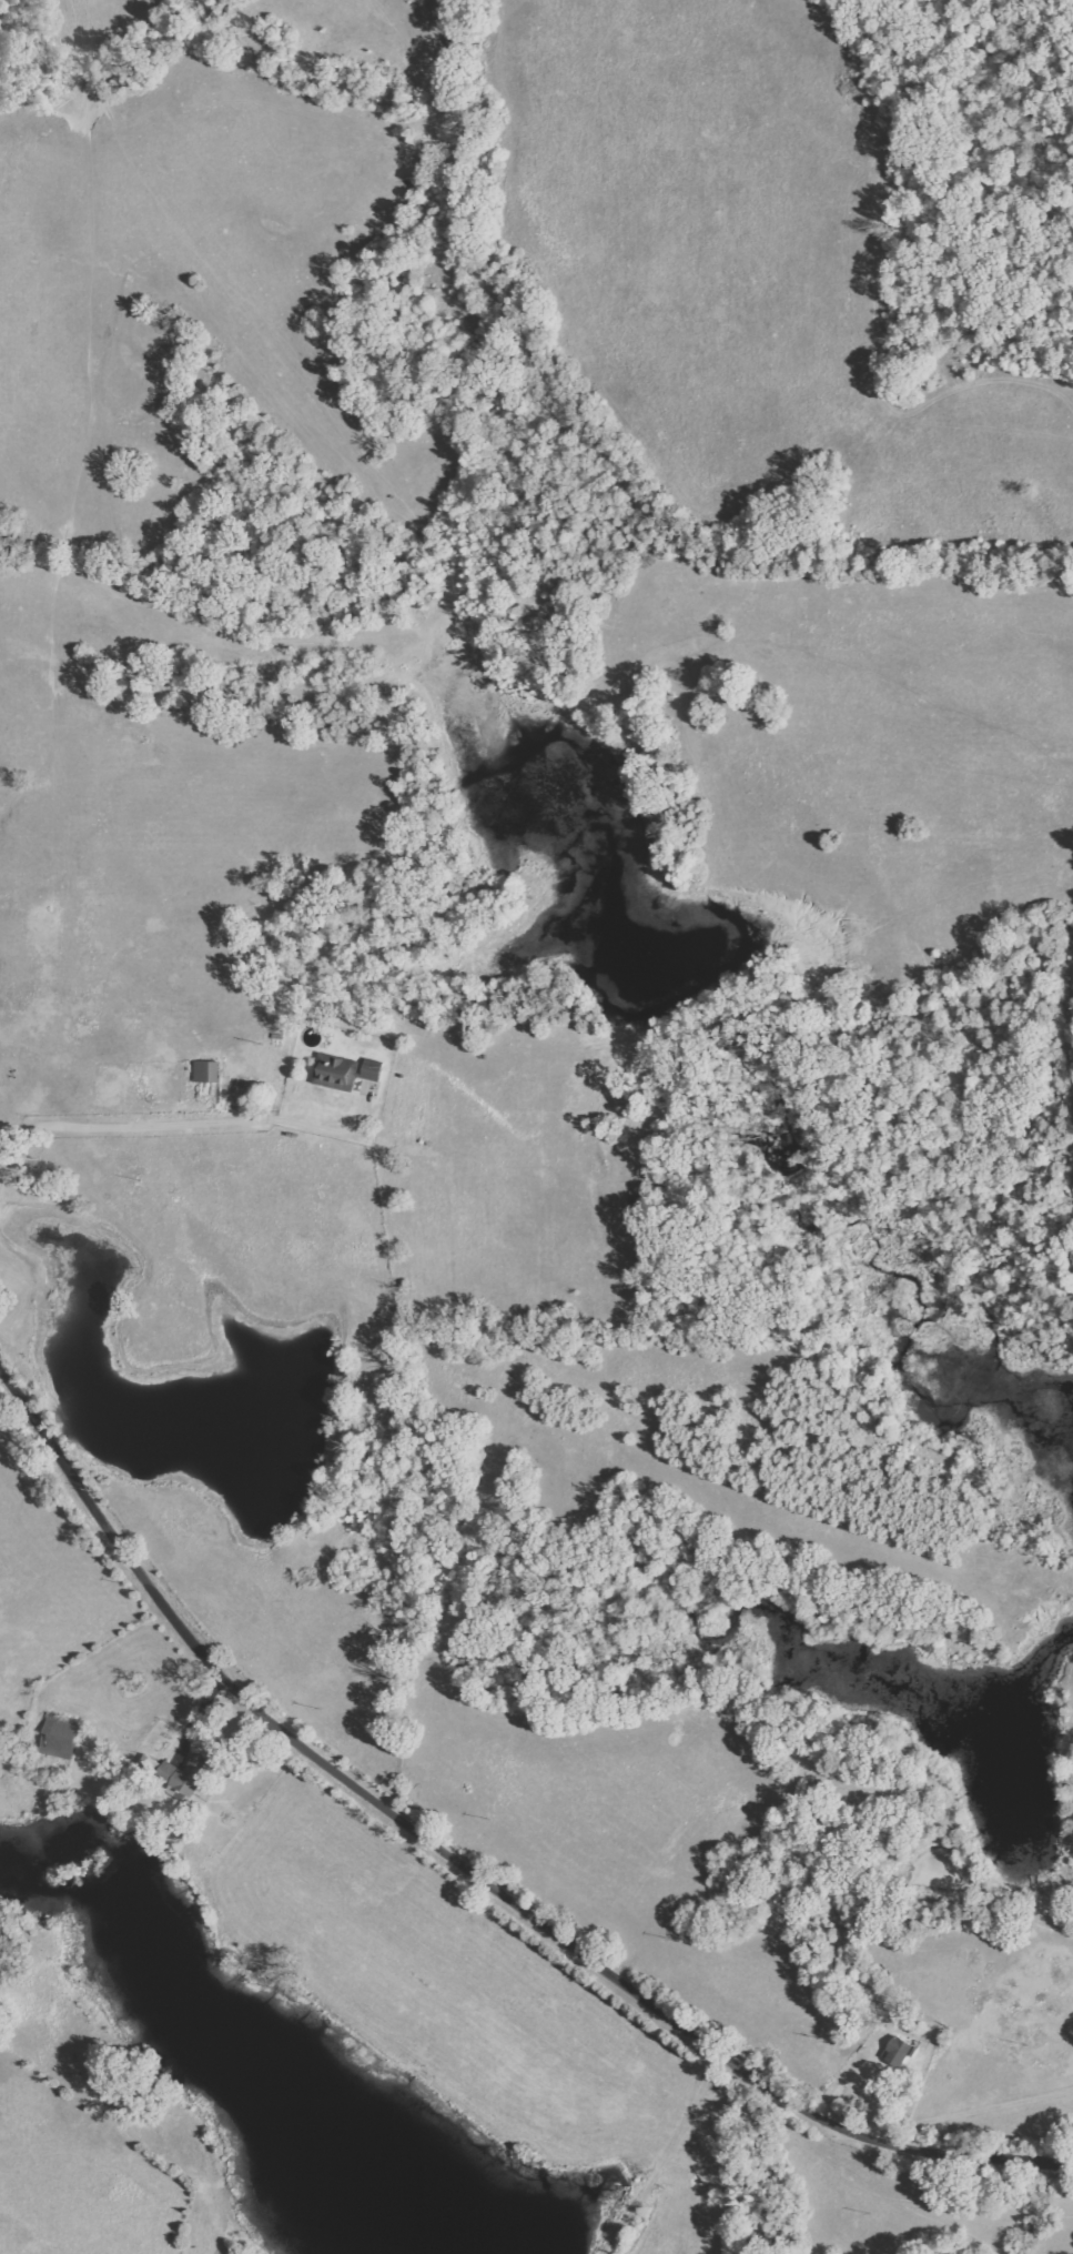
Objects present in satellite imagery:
building: (372, 1069)
building: (205, 1071)
building: (333, 1071)
road: (166, 1123)
road: (193, 1718)
building: (59, 1735)
building: (148, 1764)
building: (183, 1774)
road: (457, 1881)
building: (899, 2052)
road: (973, 2106)

